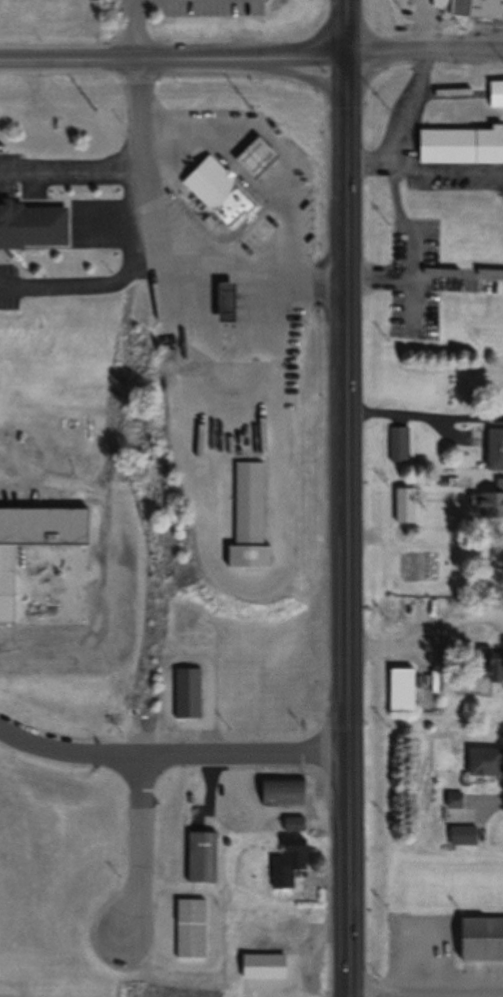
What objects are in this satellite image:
building: (493, 3)
building: (456, 7)
road: (345, 25)
road: (139, 29)
road: (423, 49)
road: (172, 58)
road: (301, 73)
road: (418, 84)
building: (496, 91)
building: (461, 145)
building: (248, 158)
road: (424, 168)
road: (68, 176)
building: (212, 190)
building: (27, 222)
road: (141, 264)
road: (74, 286)
road: (424, 411)
building: (198, 432)
building: (400, 442)
building: (495, 448)
building: (444, 478)
building: (490, 501)
building: (406, 503)
building: (248, 518)
road: (347, 523)
road: (426, 630)
building: (491, 663)
building: (401, 688)
building: (189, 691)
road: (173, 749)
building: (485, 761)
building: (280, 787)
building: (454, 798)
building: (293, 822)
building: (463, 833)
road: (143, 842)
building: (202, 854)
building: (286, 863)
building: (190, 924)
building: (288, 931)
building: (481, 939)
road: (426, 993)

